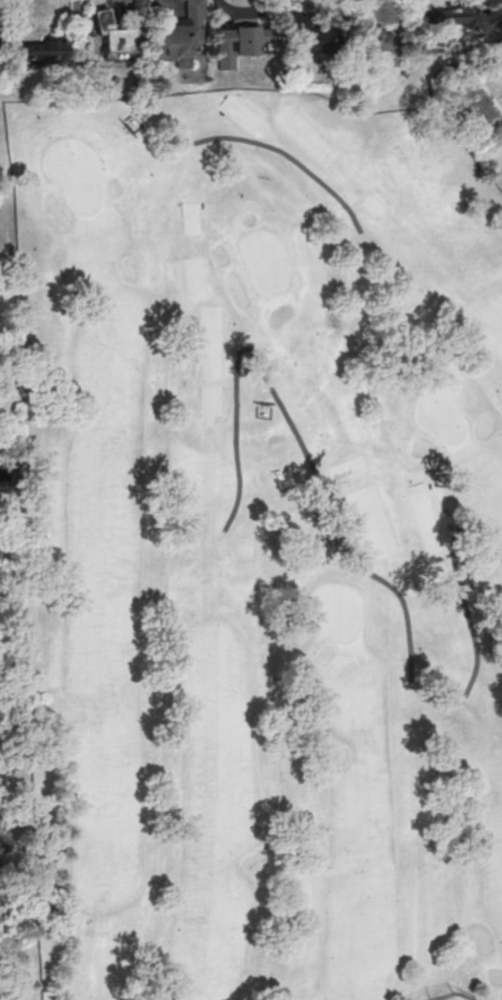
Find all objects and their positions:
building: (467, 20)
building: (116, 33)
building: (349, 36)
building: (180, 39)
building: (241, 41)
building: (47, 51)
park: (75, 174)
park: (265, 262)
park: (440, 415)
park: (259, 548)
park: (338, 611)

